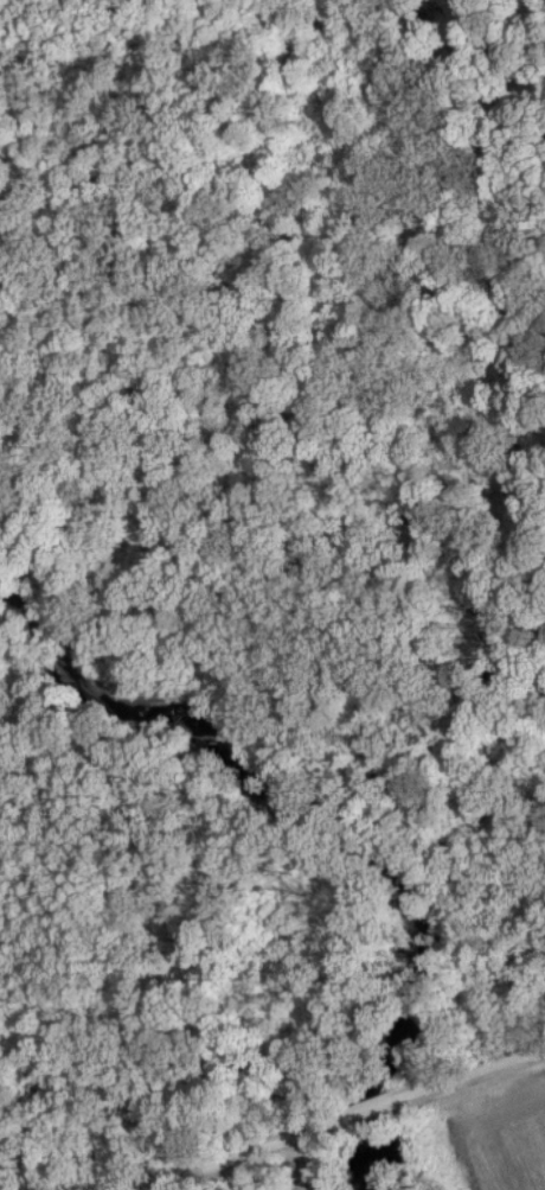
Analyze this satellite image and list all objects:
road: (468, 1076)
road: (367, 1107)
road: (177, 1177)

